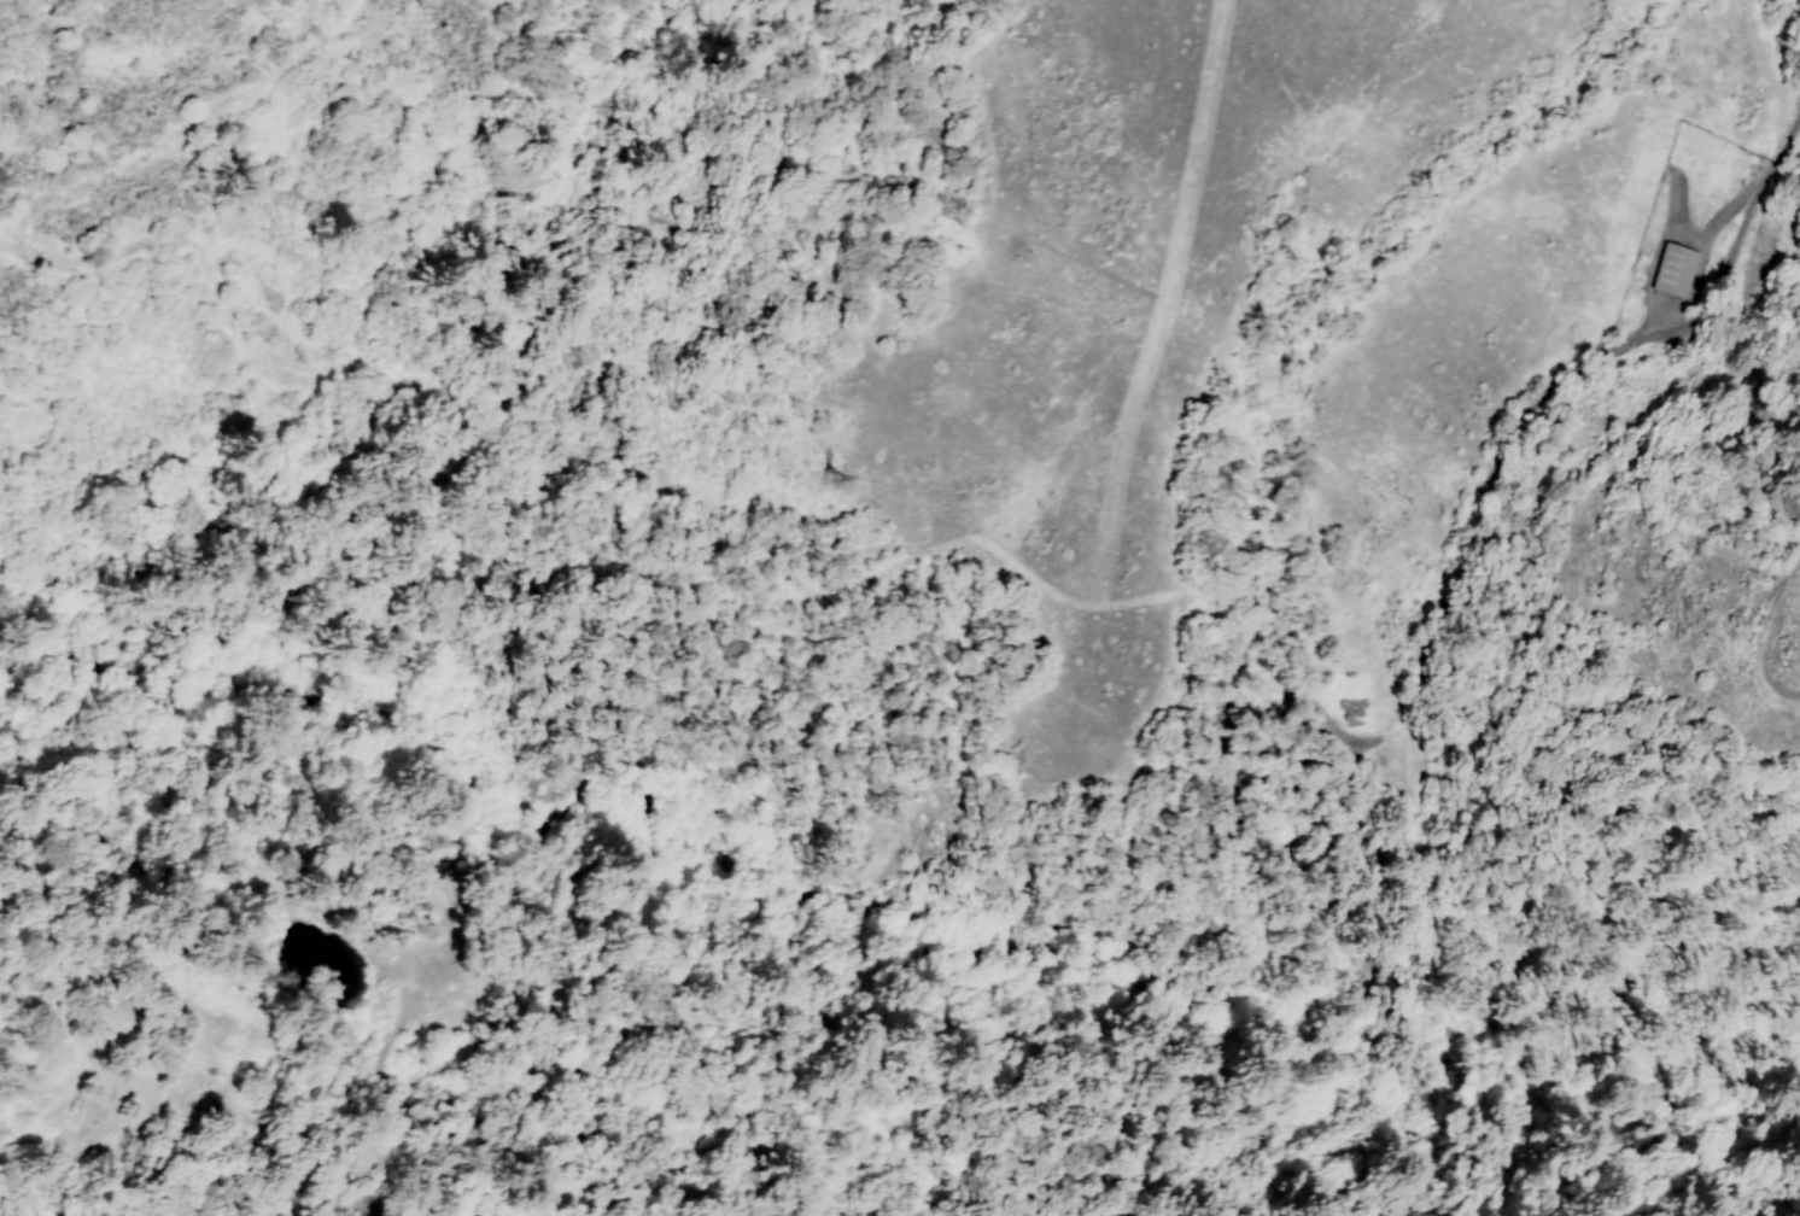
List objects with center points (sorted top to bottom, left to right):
building: (1671, 270)
power tower: (829, 474)

